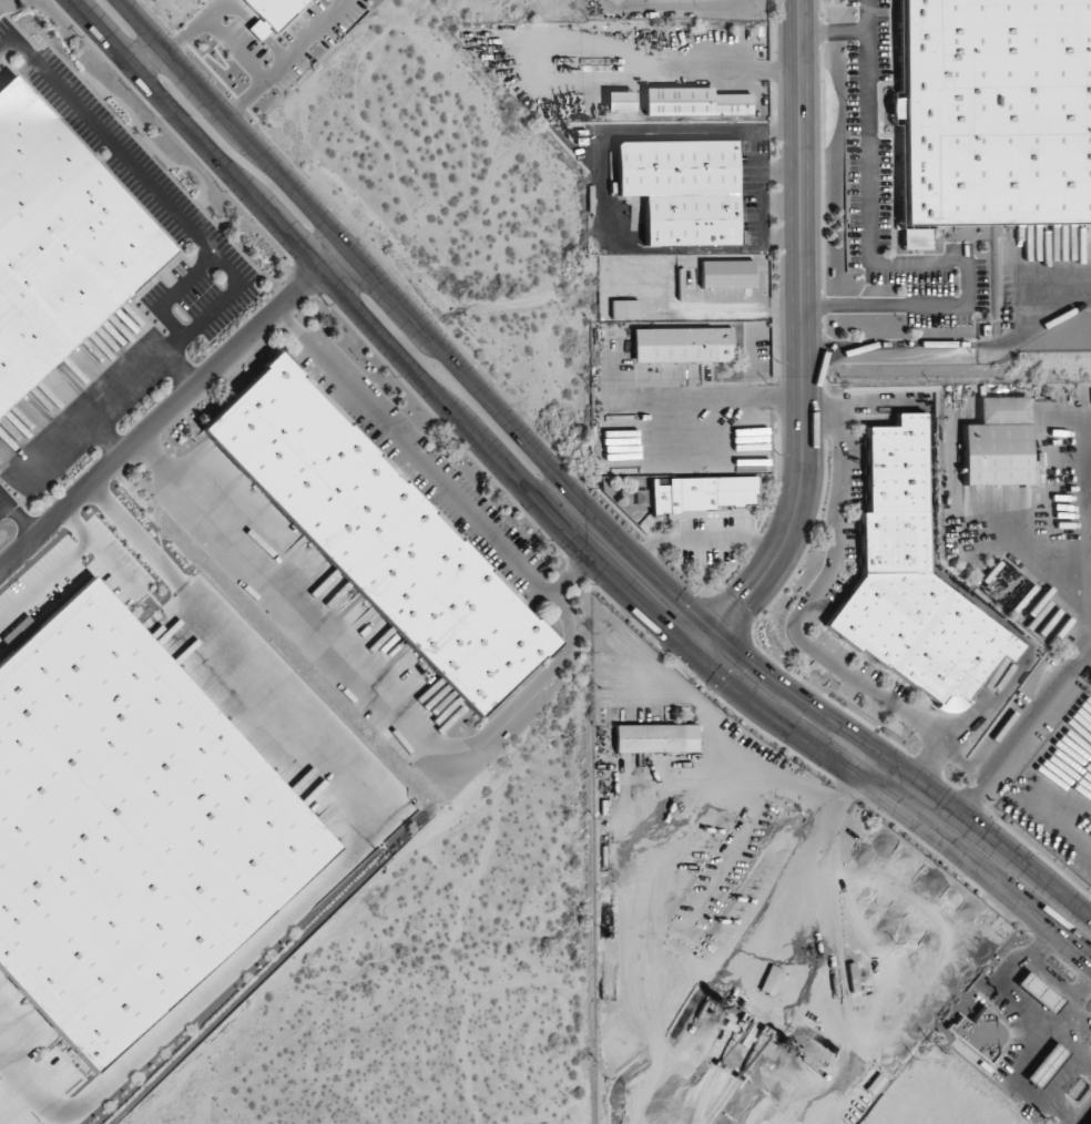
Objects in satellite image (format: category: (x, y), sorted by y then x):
road: (230, 6)
building: (272, 13)
road: (217, 30)
road: (257, 30)
road: (833, 31)
road: (274, 48)
road: (286, 58)
road: (724, 64)
building: (618, 101)
building: (693, 102)
building: (996, 111)
building: (682, 188)
building: (58, 243)
road: (221, 260)
road: (890, 263)
building: (726, 273)
road: (175, 293)
building: (623, 308)
building: (683, 345)
road: (803, 345)
road: (179, 371)
road: (734, 397)
road: (173, 406)
building: (1003, 410)
road: (108, 437)
building: (997, 454)
road: (574, 490)
building: (703, 497)
road: (9, 503)
road: (552, 511)
road: (23, 519)
building: (377, 535)
road: (58, 569)
road: (573, 576)
building: (911, 582)
traffic signals: (745, 599)
road: (798, 614)
traffic signals: (657, 617)
traffic signals: (752, 665)
road: (519, 697)
building: (655, 738)
building: (128, 828)
road: (350, 848)
building: (771, 980)
building: (1037, 991)
building: (977, 1033)
building: (1044, 1064)
road: (1090, 1123)

